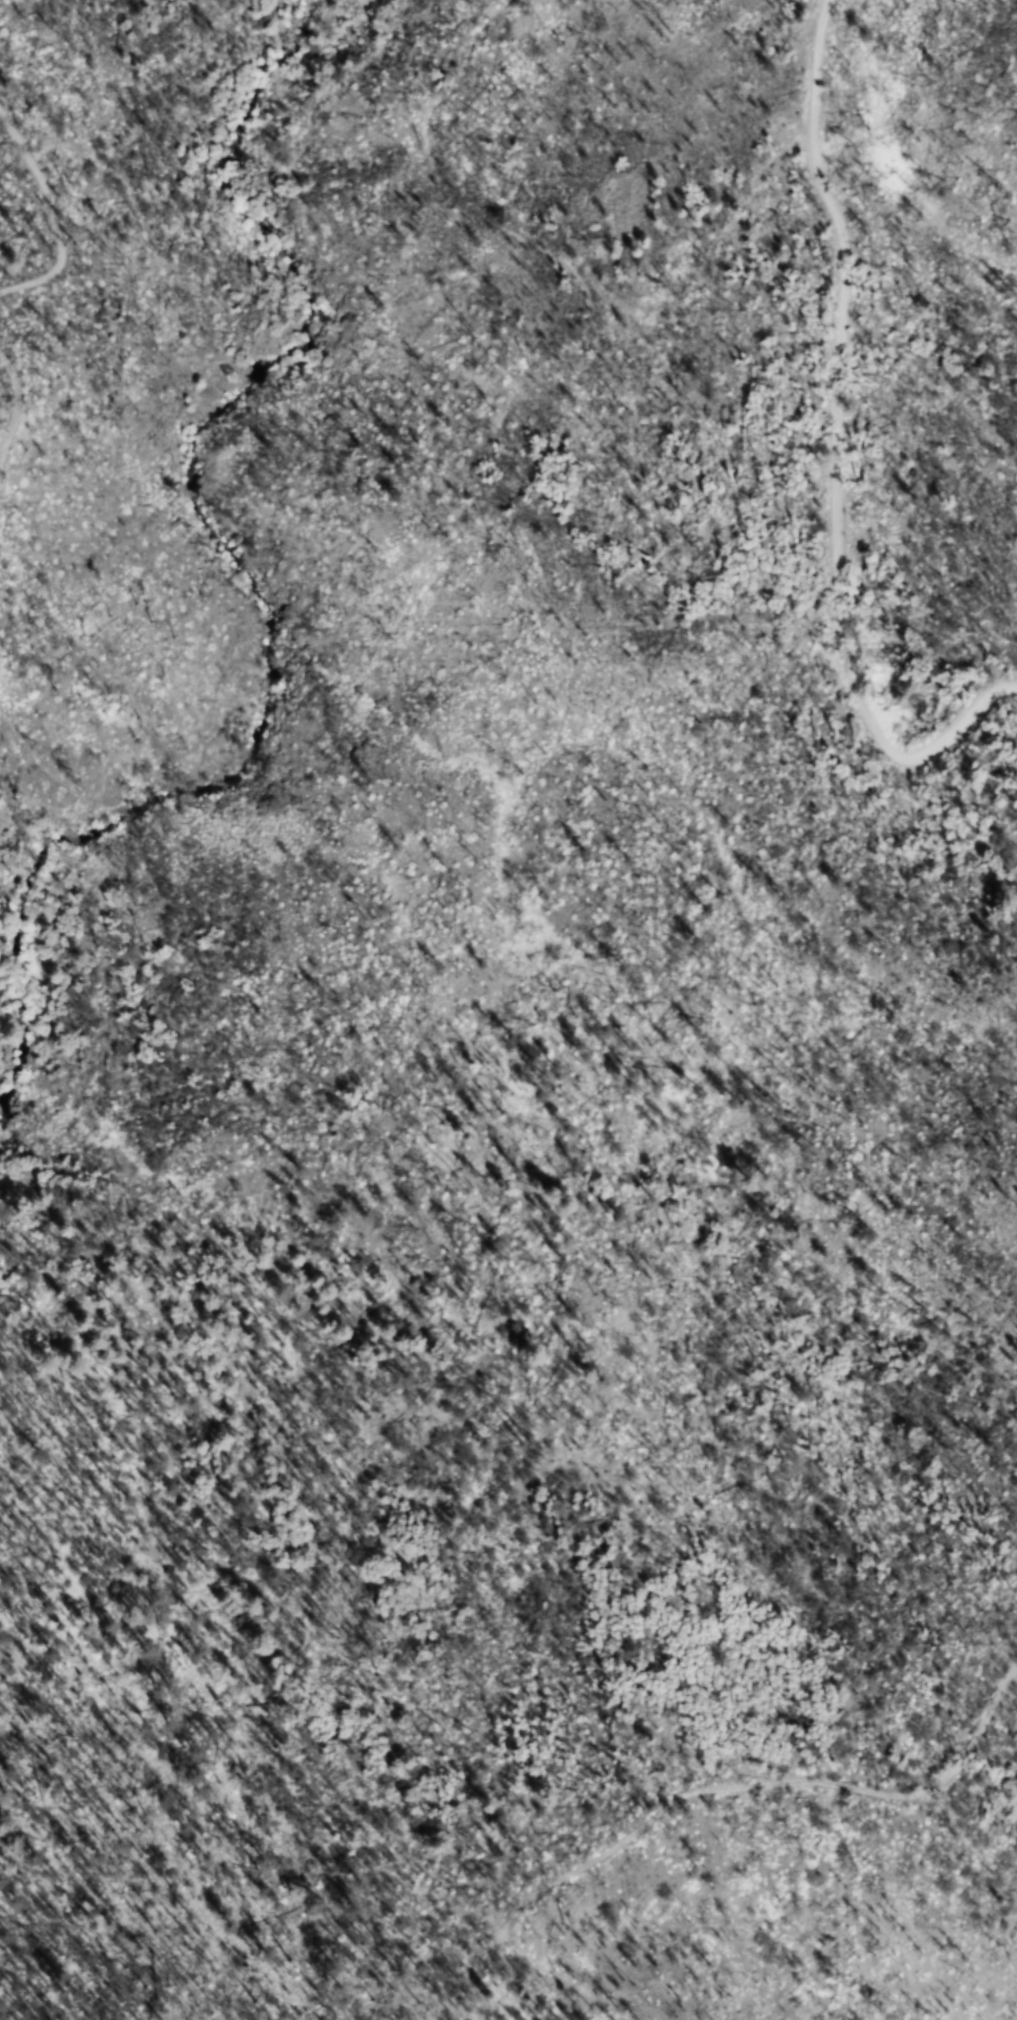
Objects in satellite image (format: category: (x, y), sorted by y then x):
road: (53, 214)
road: (14, 406)
road: (839, 452)

